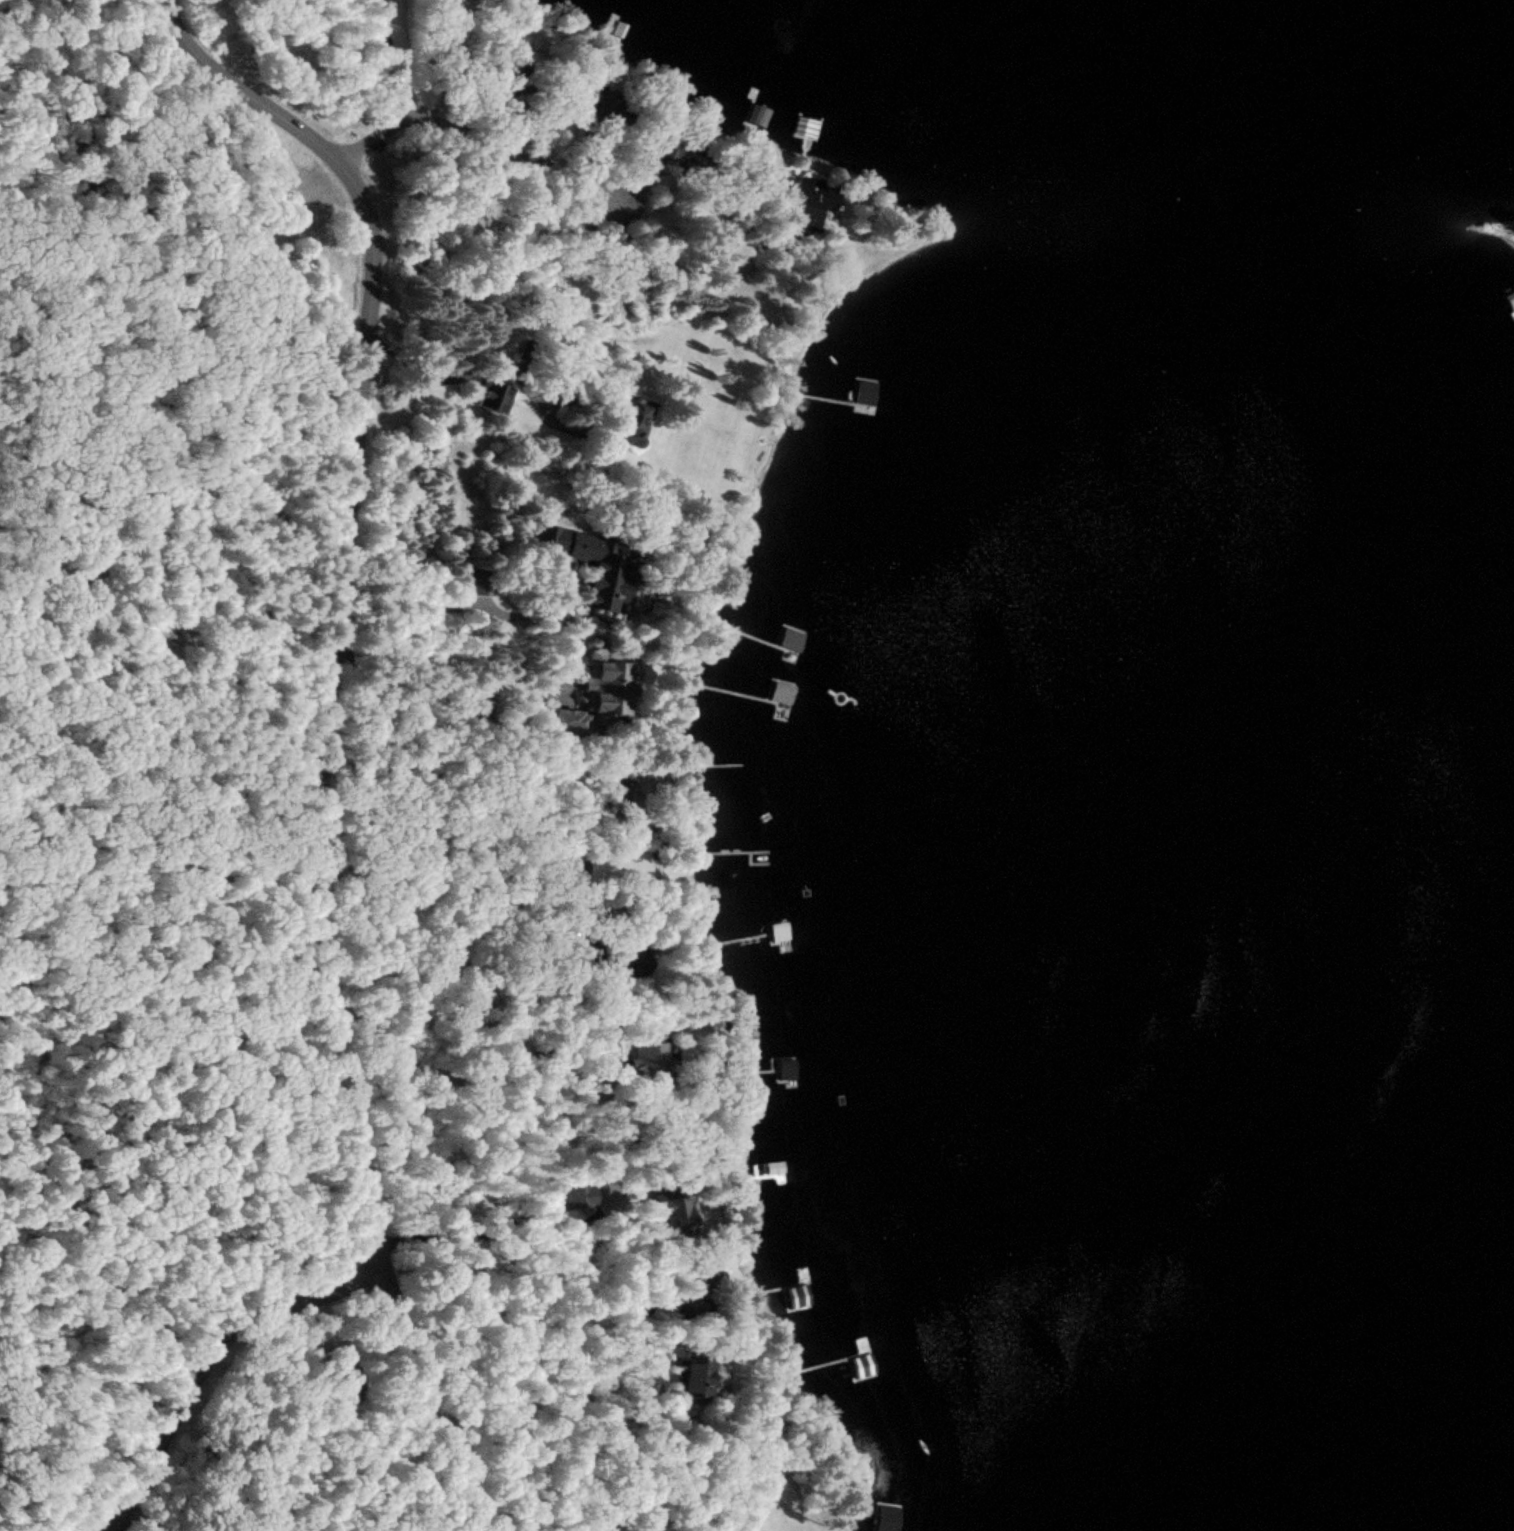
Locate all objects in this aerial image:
building: (611, 29)
road: (477, 143)
road: (146, 185)
building: (814, 207)
building: (498, 399)
building: (633, 416)
building: (603, 571)
building: (480, 582)
building: (599, 699)
road: (329, 734)
building: (618, 866)
building: (641, 1055)
building: (785, 1069)
building: (578, 1196)
building: (676, 1214)
building: (801, 1278)
road: (211, 1365)
building: (698, 1380)
building: (872, 1395)
road: (156, 1513)

